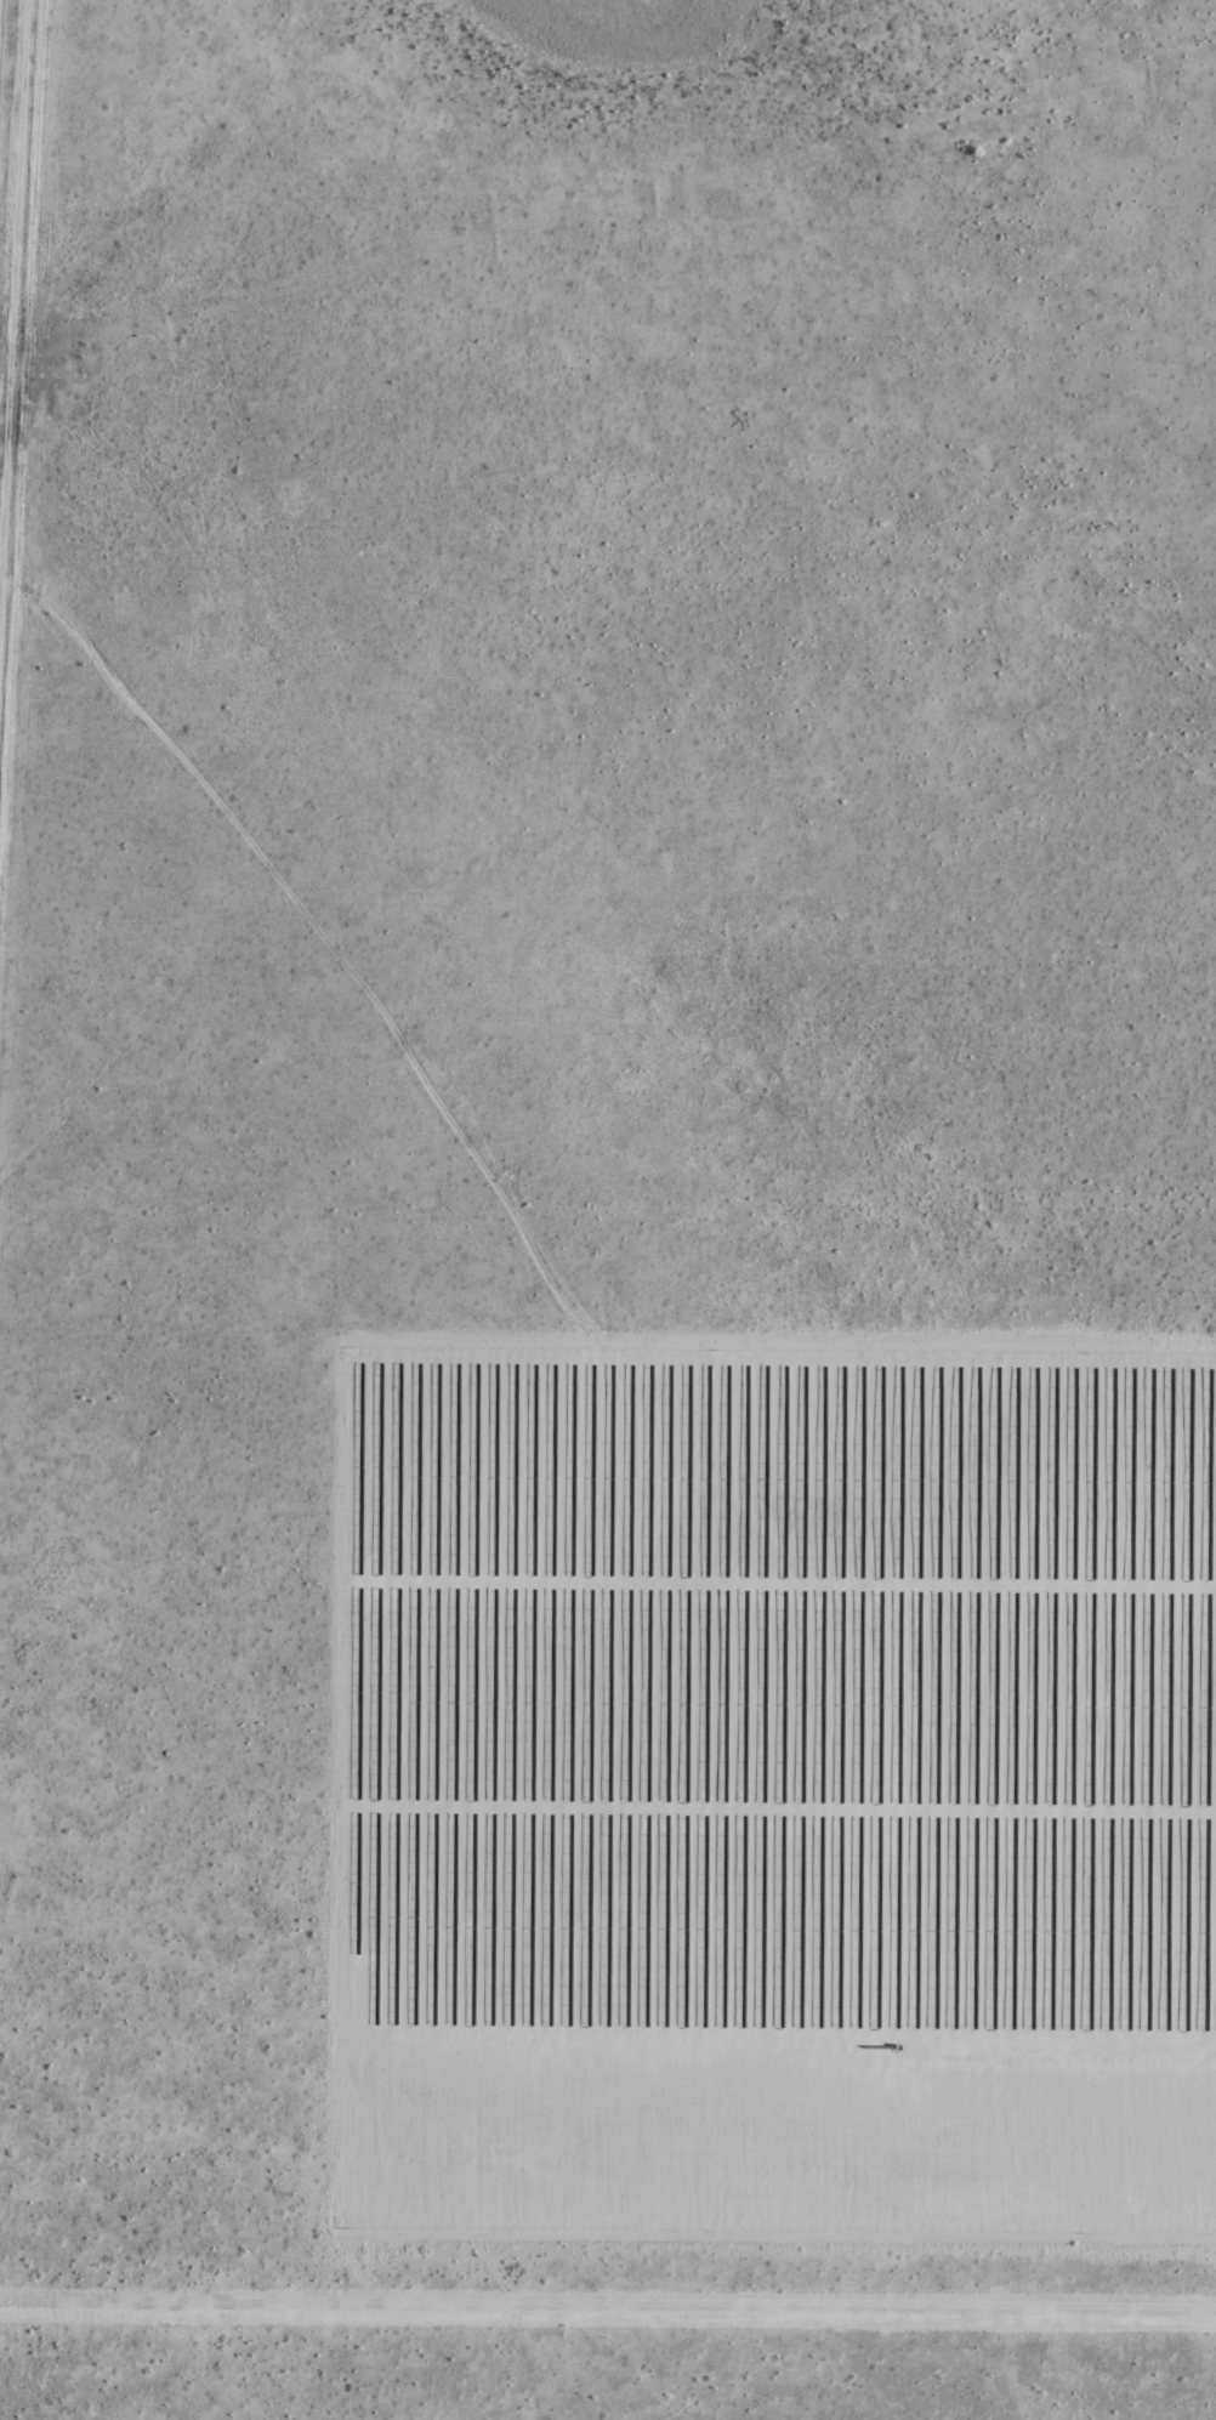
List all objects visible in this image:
solar farm: (768, 1796)
road: (779, 2129)

